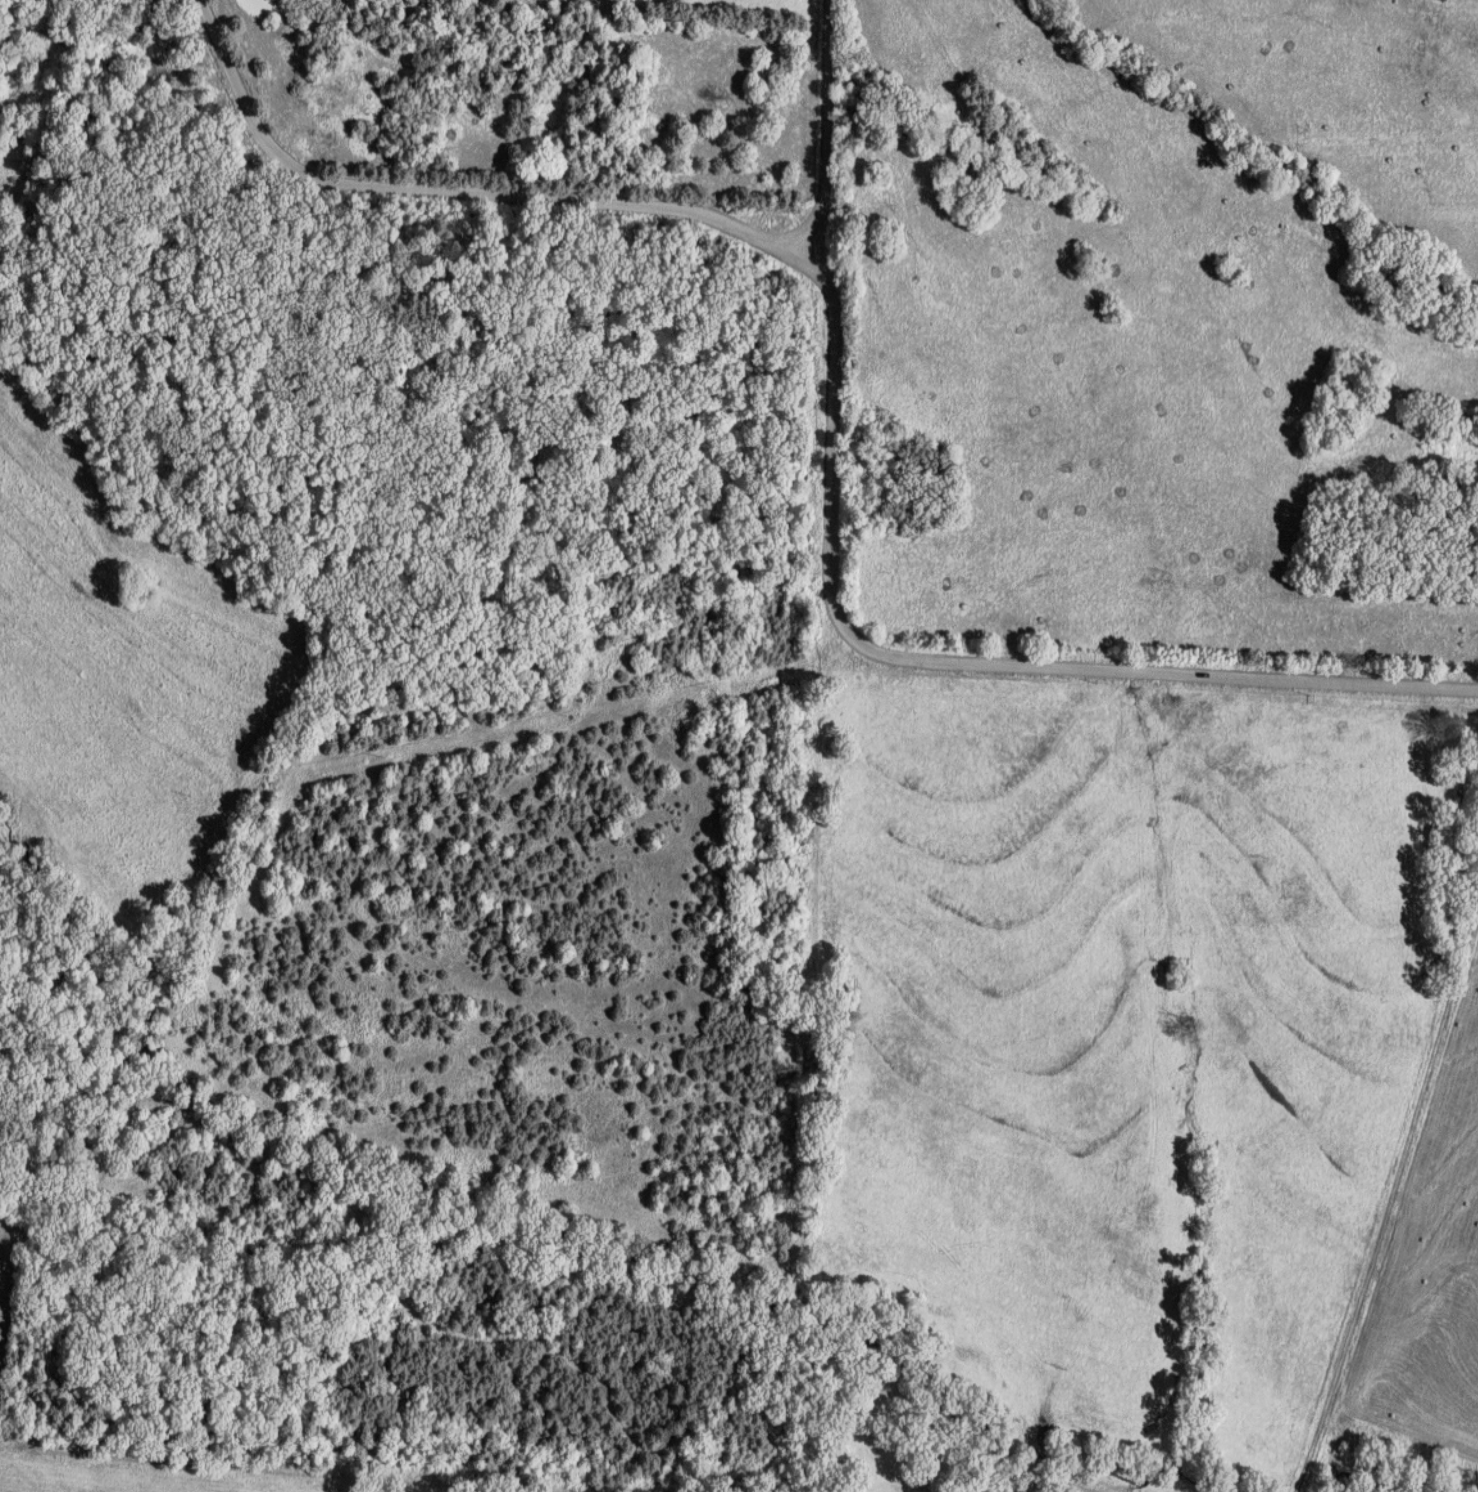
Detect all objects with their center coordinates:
road: (829, 131)
road: (450, 192)
road: (958, 663)

